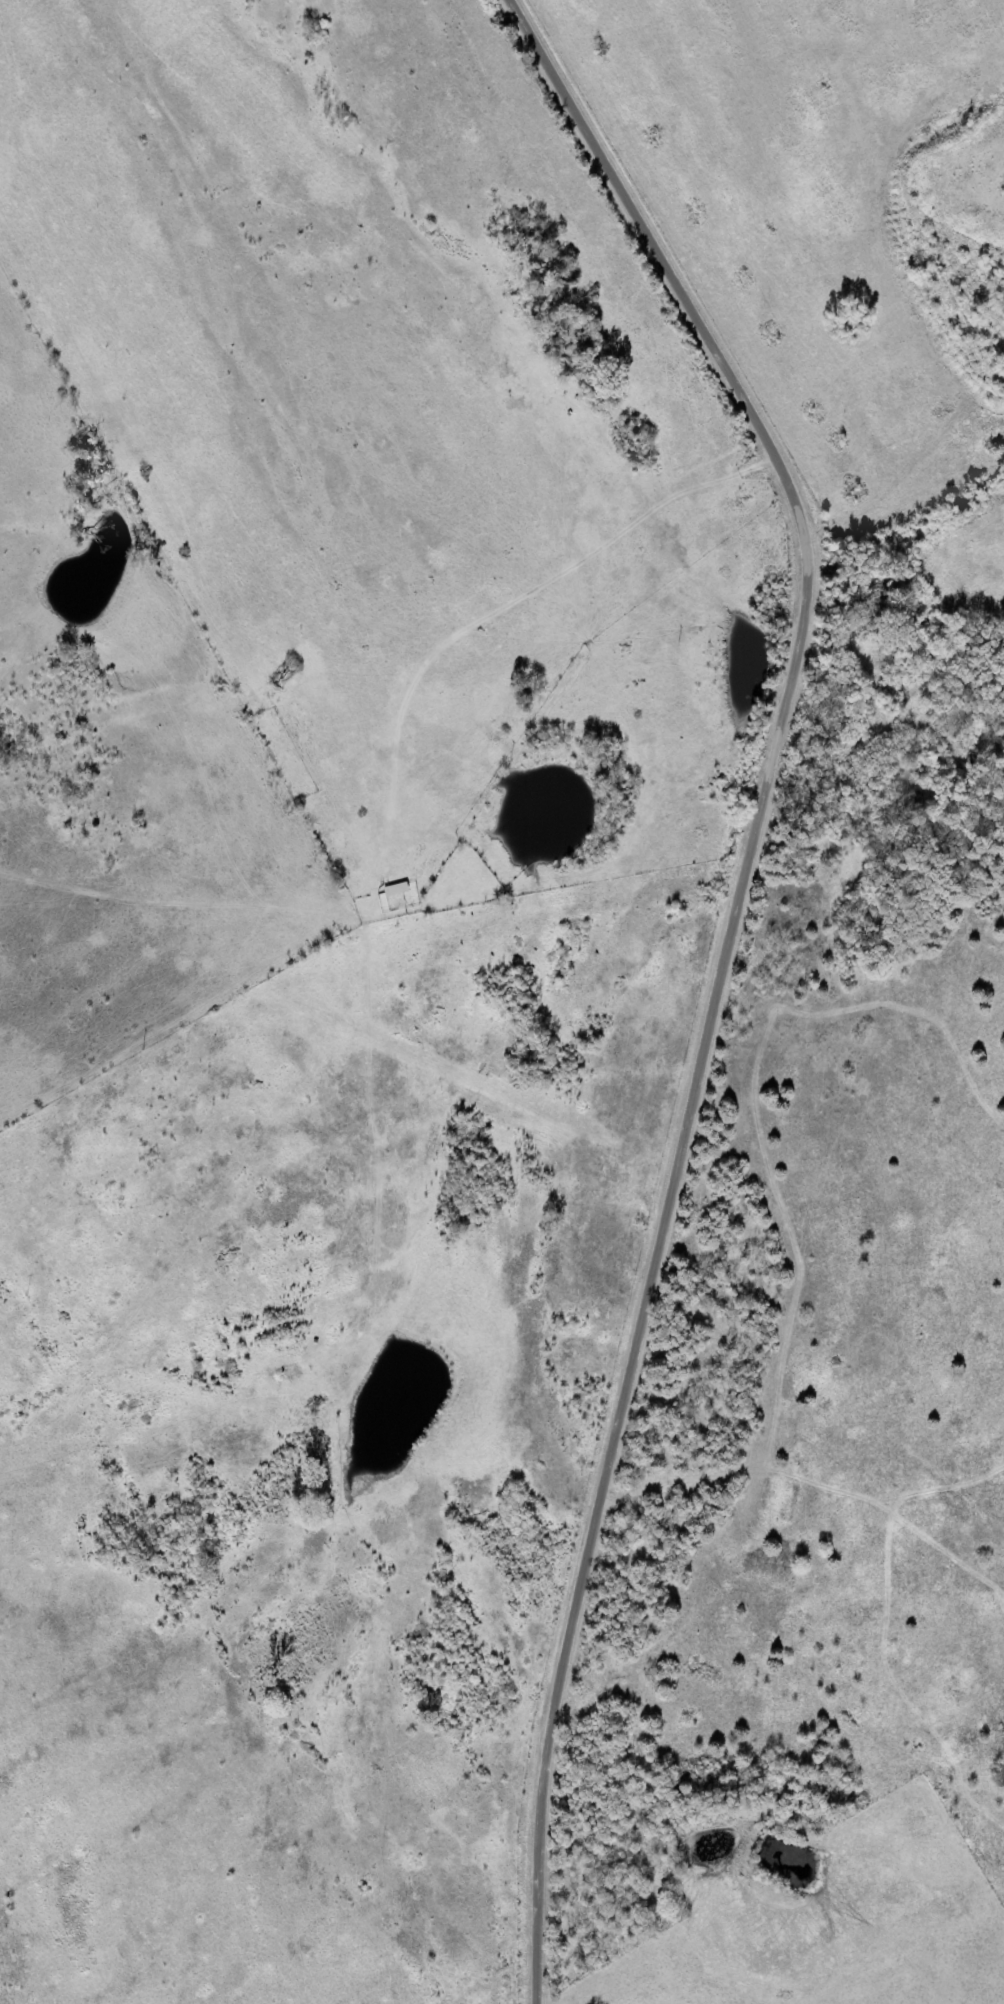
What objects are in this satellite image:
road: (727, 967)

